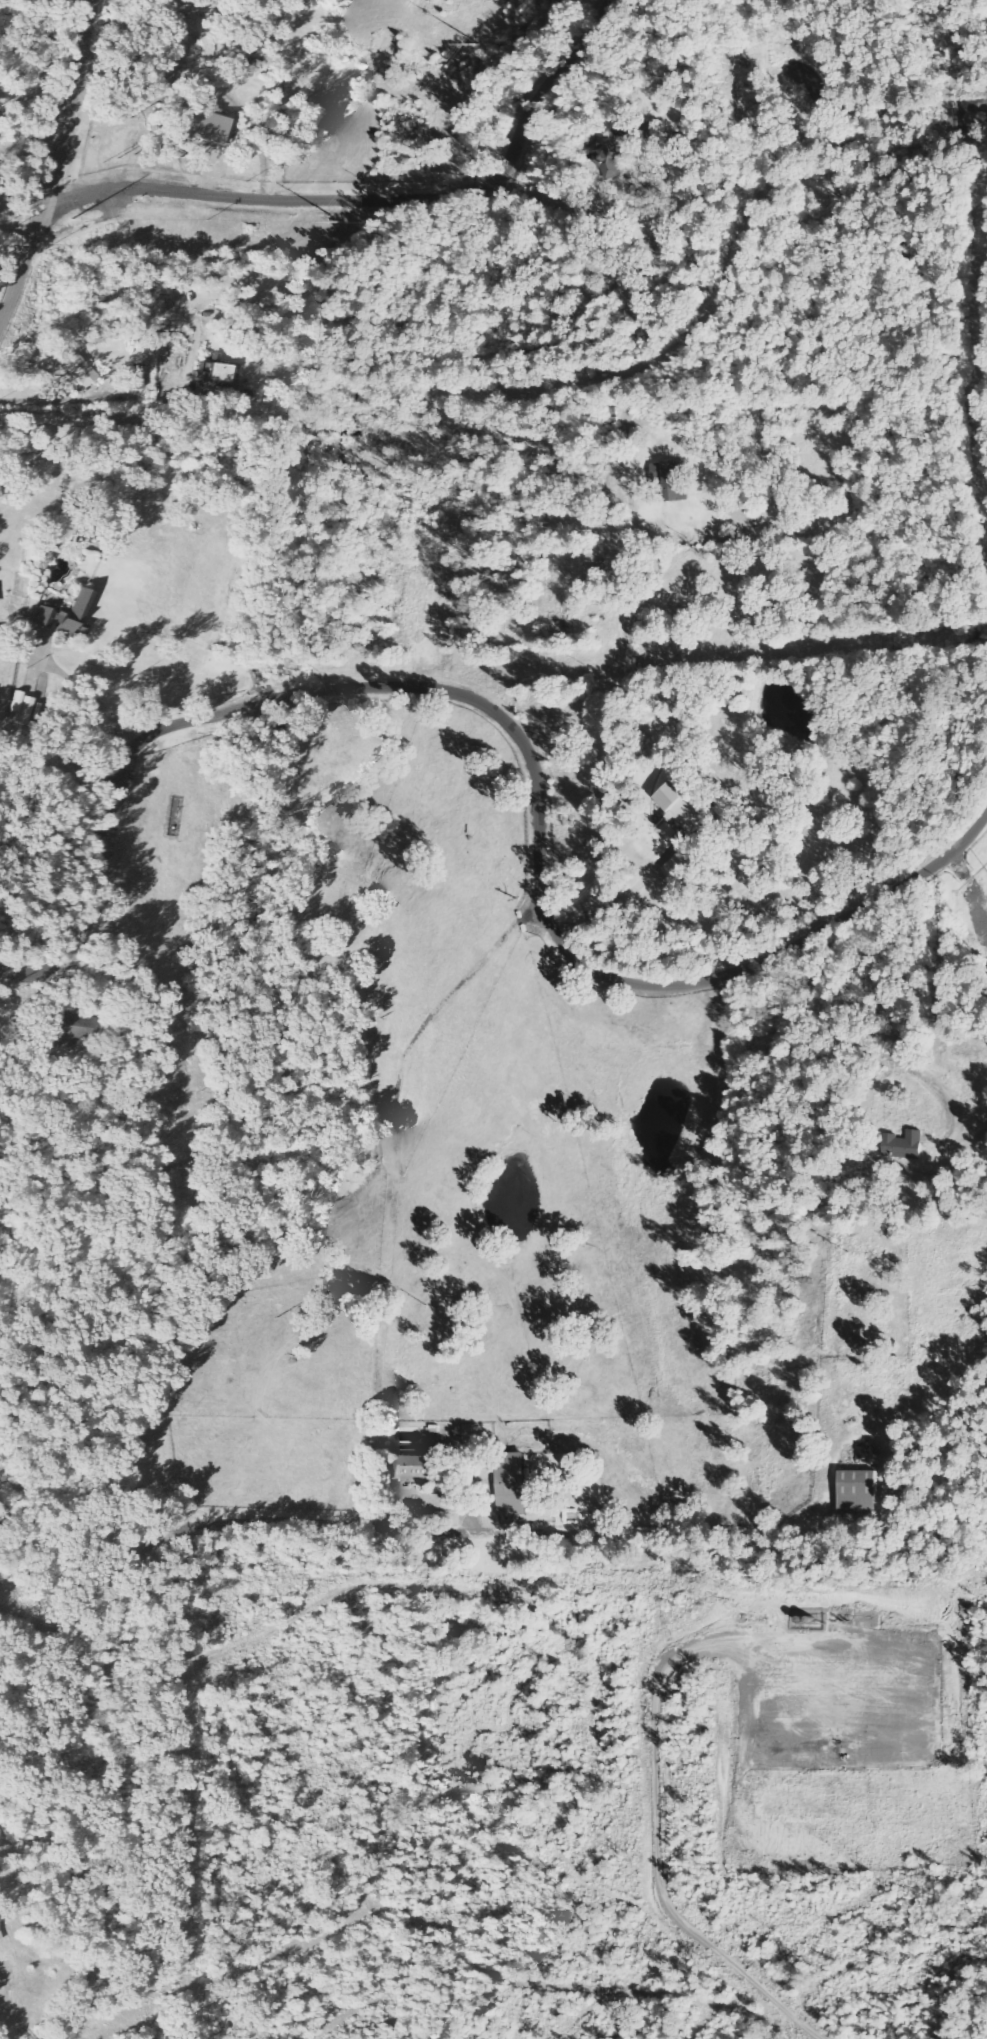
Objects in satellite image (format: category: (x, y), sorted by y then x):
power tower: (479, 43)
building: (205, 128)
building: (613, 160)
road: (54, 163)
road: (369, 199)
power tower: (70, 221)
power tower: (341, 223)
road: (13, 252)
building: (82, 371)
building: (219, 382)
road: (527, 389)
building: (676, 479)
building: (66, 615)
building: (0, 632)
road: (92, 697)
building: (23, 708)
road: (518, 733)
building: (689, 807)
building: (683, 865)
building: (69, 1025)
building: (985, 1143)
building: (905, 1146)
building: (417, 1469)
building: (515, 1484)
building: (861, 1493)
road: (276, 1524)
road: (394, 1908)
building: (0, 1938)

